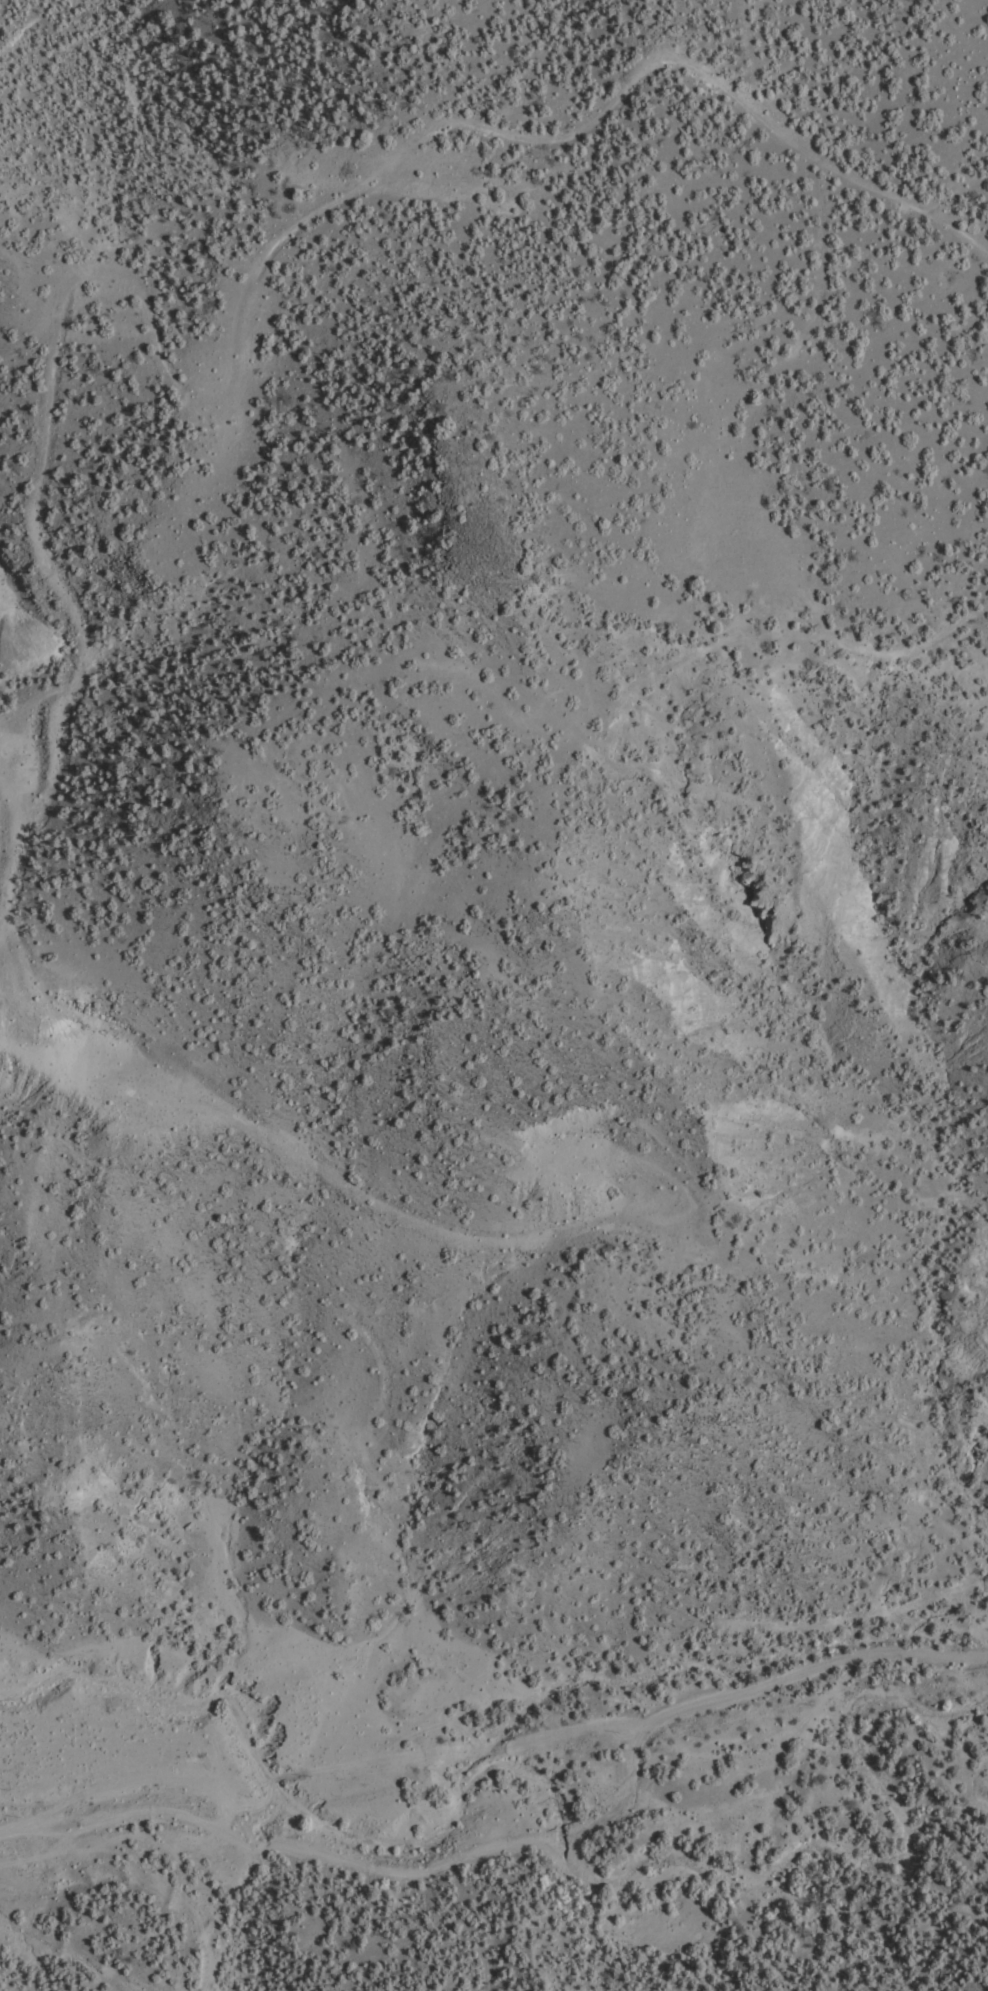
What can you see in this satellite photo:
road: (453, 92)
road: (255, 1088)
road: (509, 1863)
road: (124, 1896)

